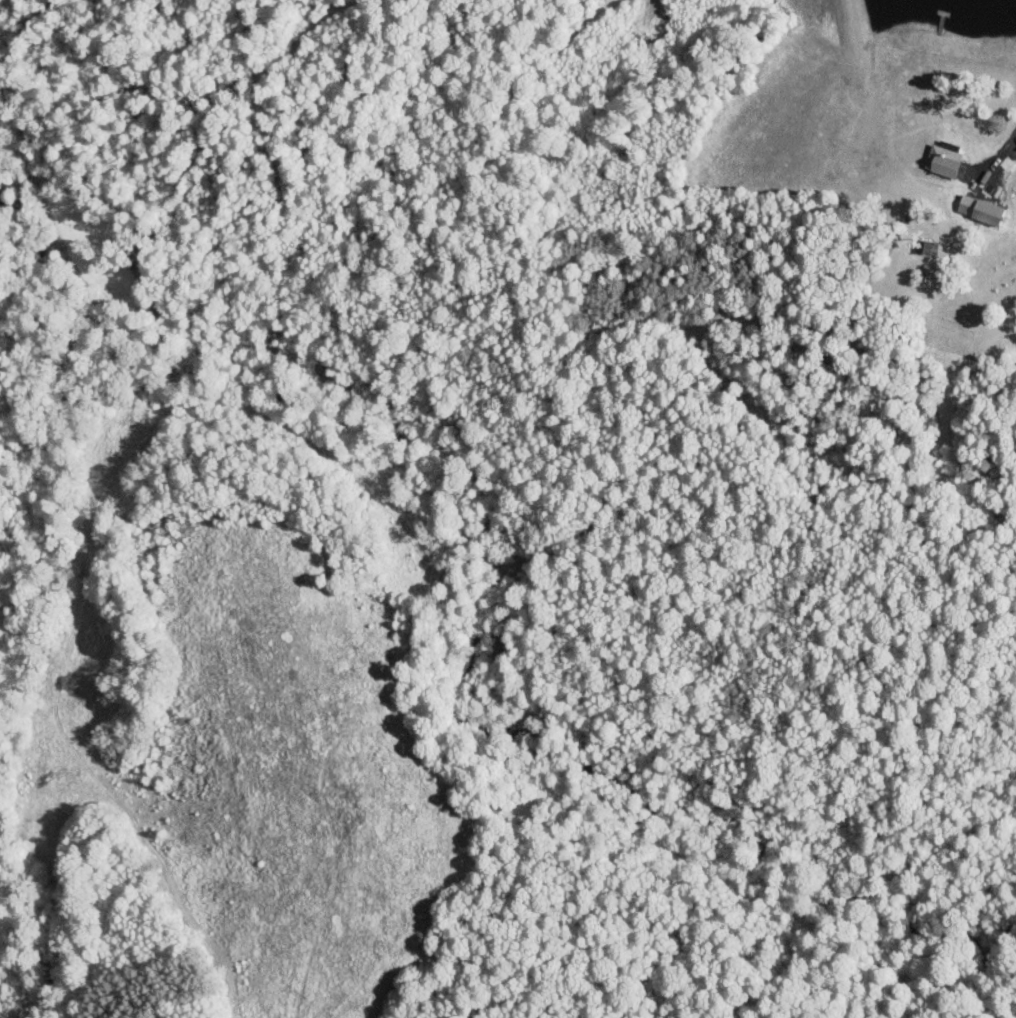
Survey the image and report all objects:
road: (1014, 139)
building: (939, 158)

